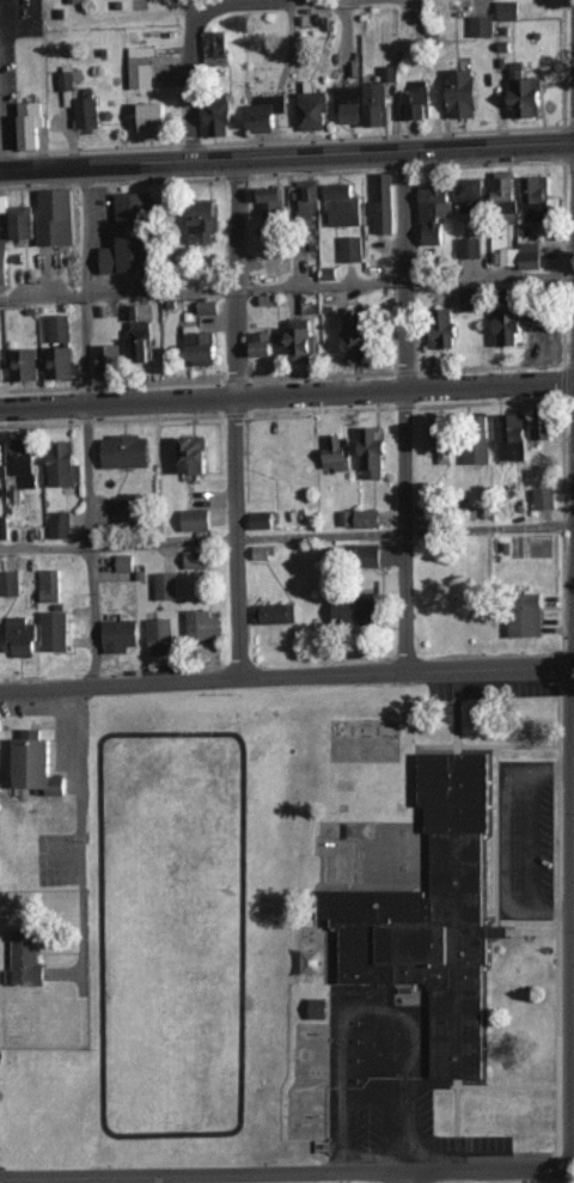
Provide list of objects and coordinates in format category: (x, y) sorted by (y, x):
road: (344, 1)
road: (196, 5)
building: (509, 10)
building: (482, 25)
building: (215, 47)
road: (196, 51)
building: (145, 66)
building: (67, 80)
building: (465, 92)
building: (526, 92)
building: (417, 102)
building: (350, 104)
building: (378, 104)
building: (315, 110)
building: (90, 111)
building: (269, 111)
building: (221, 116)
building: (154, 118)
building: (32, 123)
road: (286, 151)
building: (507, 194)
building: (311, 197)
building: (474, 197)
building: (537, 197)
building: (135, 203)
building: (385, 203)
building: (344, 205)
building: (276, 206)
building: (435, 212)
building: (57, 217)
building: (19, 219)
building: (207, 224)
building: (471, 248)
building: (129, 249)
building: (353, 249)
building: (531, 255)
building: (5, 263)
road: (287, 286)
building: (475, 299)
building: (508, 327)
building: (445, 329)
building: (543, 330)
building: (140, 335)
building: (360, 336)
building: (304, 342)
building: (267, 343)
building: (203, 347)
building: (61, 348)
building: (110, 360)
building: (25, 364)
building: (1, 366)
road: (287, 396)
road: (407, 410)
road: (230, 414)
road: (86, 422)
building: (542, 427)
building: (512, 437)
building: (439, 438)
building: (128, 451)
building: (477, 451)
building: (375, 452)
building: (338, 453)
building: (196, 455)
building: (4, 459)
building: (28, 462)
building: (67, 464)
building: (545, 499)
building: (127, 511)
building: (430, 514)
building: (370, 518)
building: (197, 519)
building: (263, 520)
building: (61, 525)
road: (287, 537)
building: (264, 553)
building: (370, 555)
building: (197, 559)
building: (11, 583)
building: (50, 585)
building: (167, 585)
building: (356, 610)
building: (279, 612)
building: (529, 616)
building: (203, 626)
building: (56, 632)
building: (122, 635)
building: (163, 635)
building: (22, 638)
road: (287, 676)
building: (38, 767)
road: (80, 839)
building: (430, 916)
building: (26, 961)
building: (319, 1008)
road: (287, 1173)
road: (409, 1177)

